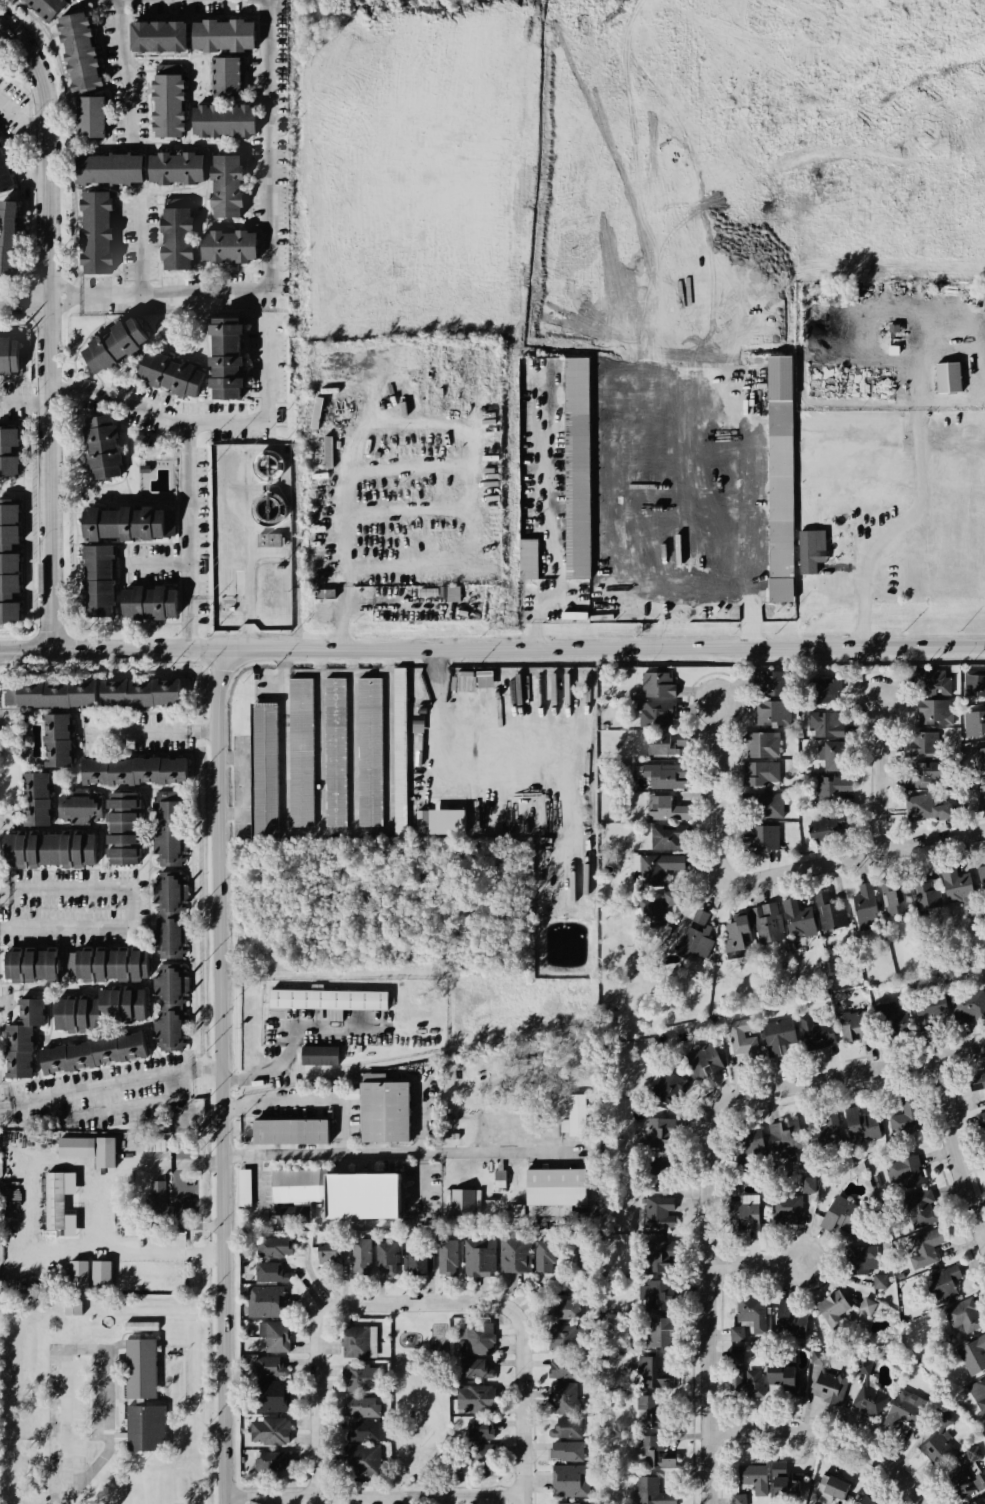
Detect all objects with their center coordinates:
building: (48, 7)
building: (224, 35)
building: (161, 36)
building: (80, 52)
road: (124, 65)
parking lot: (123, 76)
building: (229, 78)
road: (686, 85)
building: (166, 102)
building: (92, 116)
road: (24, 120)
building: (225, 120)
road: (299, 120)
parking lot: (272, 125)
building: (109, 168)
building: (177, 168)
building: (3, 177)
building: (224, 185)
building: (97, 232)
building: (8, 237)
building: (177, 238)
road: (286, 241)
building: (229, 246)
road: (143, 247)
road: (735, 266)
road: (164, 294)
parking lot: (197, 294)
road: (28, 301)
road: (273, 318)
road: (57, 319)
building: (115, 345)
building: (6, 353)
building: (227, 358)
road: (731, 371)
building: (171, 374)
building: (945, 377)
parking lot: (16, 400)
road: (30, 402)
road: (917, 432)
building: (103, 446)
building: (8, 452)
building: (262, 464)
storage tank: (262, 464)
road: (430, 464)
building: (574, 478)
building: (776, 479)
building: (262, 507)
storage tank: (262, 507)
building: (124, 523)
building: (169, 523)
road: (188, 537)
building: (269, 540)
building: (809, 549)
building: (525, 559)
building: (9, 561)
parking lot: (149, 562)
road: (163, 563)
building: (99, 581)
road: (253, 587)
building: (323, 592)
building: (435, 593)
road: (643, 600)
building: (150, 602)
road: (343, 623)
road: (538, 626)
road: (109, 646)
road: (601, 648)
building: (761, 679)
building: (484, 680)
building: (461, 683)
building: (929, 683)
building: (973, 683)
building: (656, 684)
building: (87, 689)
building: (818, 692)
building: (766, 711)
building: (930, 711)
building: (658, 715)
road: (3, 718)
building: (973, 723)
building: (822, 724)
road: (155, 729)
parking lot: (137, 730)
building: (759, 743)
building: (917, 744)
building: (400, 749)
building: (659, 749)
building: (369, 751)
building: (334, 752)
building: (298, 753)
building: (828, 758)
building: (973, 759)
building: (106, 762)
building: (261, 769)
building: (757, 774)
road: (884, 775)
building: (914, 775)
building: (663, 776)
road: (238, 786)
building: (832, 786)
road: (721, 792)
building: (978, 796)
building: (33, 799)
building: (757, 805)
building: (74, 809)
building: (662, 809)
building: (922, 811)
building: (423, 819)
building: (122, 827)
building: (823, 829)
building: (168, 831)
building: (664, 838)
building: (756, 839)
building: (47, 849)
road: (219, 857)
building: (984, 857)
road: (854, 858)
building: (660, 868)
building: (577, 878)
building: (980, 879)
building: (949, 885)
building: (167, 891)
building: (921, 891)
building: (892, 897)
road: (130, 902)
building: (861, 902)
parking lot: (72, 907)
building: (828, 908)
building: (652, 914)
building: (796, 918)
building: (766, 924)
building: (735, 933)
building: (166, 936)
building: (695, 938)
building: (109, 964)
building: (27, 966)
building: (324, 998)
building: (120, 1003)
building: (966, 1005)
building: (170, 1006)
building: (929, 1006)
building: (28, 1011)
building: (887, 1014)
building: (74, 1015)
building: (853, 1022)
building: (816, 1029)
building: (778, 1034)
building: (742, 1037)
road: (295, 1045)
building: (12, 1051)
building: (93, 1052)
building: (319, 1057)
building: (703, 1060)
road: (882, 1068)
road: (524, 1079)
building: (977, 1084)
building: (669, 1087)
road: (110, 1088)
building: (351, 1093)
road: (310, 1098)
road: (130, 1107)
building: (381, 1111)
building: (573, 1115)
building: (896, 1124)
building: (862, 1125)
building: (980, 1127)
building: (822, 1129)
building: (290, 1132)
building: (658, 1132)
building: (784, 1135)
road: (958, 1142)
building: (747, 1143)
building: (71, 1146)
building: (102, 1153)
road: (323, 1154)
building: (659, 1168)
building: (904, 1171)
building: (500, 1176)
building: (807, 1183)
building: (553, 1185)
building: (245, 1188)
building: (339, 1194)
building: (53, 1200)
building: (459, 1201)
building: (783, 1208)
building: (920, 1208)
building: (658, 1209)
building: (155, 1211)
building: (744, 1211)
building: (842, 1214)
building: (295, 1215)
building: (518, 1216)
road: (78, 1233)
building: (276, 1242)
building: (927, 1243)
road: (38, 1249)
building: (358, 1252)
building: (514, 1252)
building: (324, 1253)
building: (543, 1254)
building: (657, 1254)
building: (383, 1255)
building: (445, 1255)
building: (476, 1257)
building: (859, 1257)
road: (758, 1262)
building: (419, 1266)
building: (263, 1272)
building: (100, 1273)
building: (75, 1274)
road: (713, 1274)
building: (942, 1280)
building: (880, 1281)
road: (232, 1285)
building: (659, 1294)
road: (354, 1301)
building: (261, 1303)
building: (831, 1306)
building: (867, 1306)
building: (73, 1307)
building: (566, 1308)
building: (751, 1309)
building: (962, 1316)
building: (790, 1319)
building: (659, 1330)
building: (735, 1332)
building: (563, 1335)
building: (274, 1337)
building: (478, 1338)
building: (354, 1341)
building: (734, 1355)
building: (973, 1355)
building: (265, 1365)
building: (561, 1366)
building: (140, 1367)
building: (470, 1367)
building: (653, 1372)
building: (356, 1377)
building: (782, 1377)
building: (752, 1381)
building: (829, 1385)
building: (978, 1392)
building: (563, 1396)
building: (264, 1397)
building: (472, 1398)
park: (418, 1399)
building: (868, 1399)
building: (359, 1408)
road: (844, 1408)
building: (906, 1408)
building: (649, 1411)
road: (66, 1419)
building: (566, 1426)
road: (530, 1427)
building: (142, 1428)
building: (361, 1430)
building: (477, 1430)
building: (268, 1431)
road: (835, 1435)
road: (113, 1437)
building: (937, 1441)
building: (566, 1449)
building: (655, 1452)
building: (480, 1457)
building: (269, 1462)
building: (360, 1462)
building: (777, 1465)
building: (965, 1474)
building: (753, 1476)
building: (569, 1479)
building: (783, 1485)
building: (834, 1485)
building: (650, 1491)
road: (381, 1496)
building: (737, 1498)
building: (975, 1499)
building: (861, 1500)
building: (867, 1500)
building: (568, 1502)

